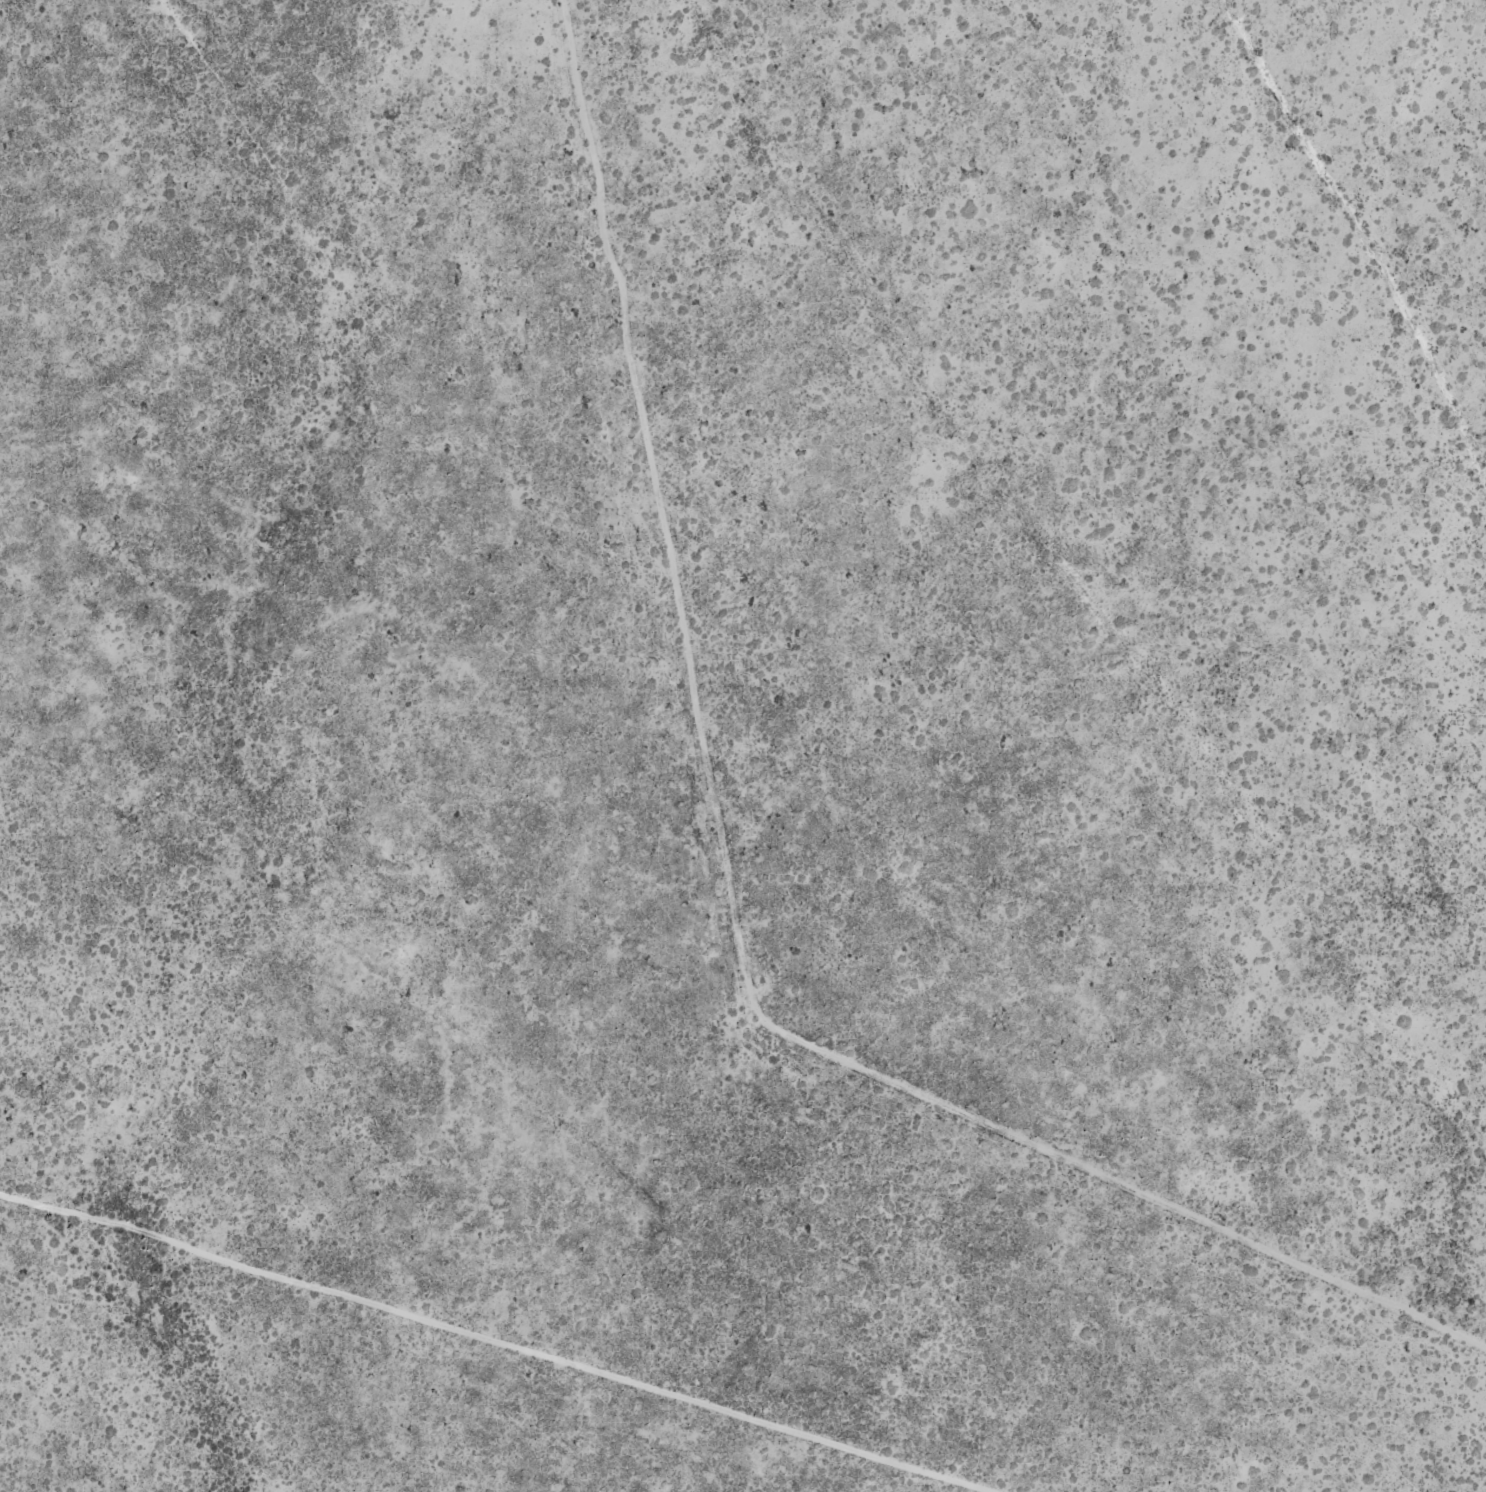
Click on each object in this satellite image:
road: (519, 1336)

